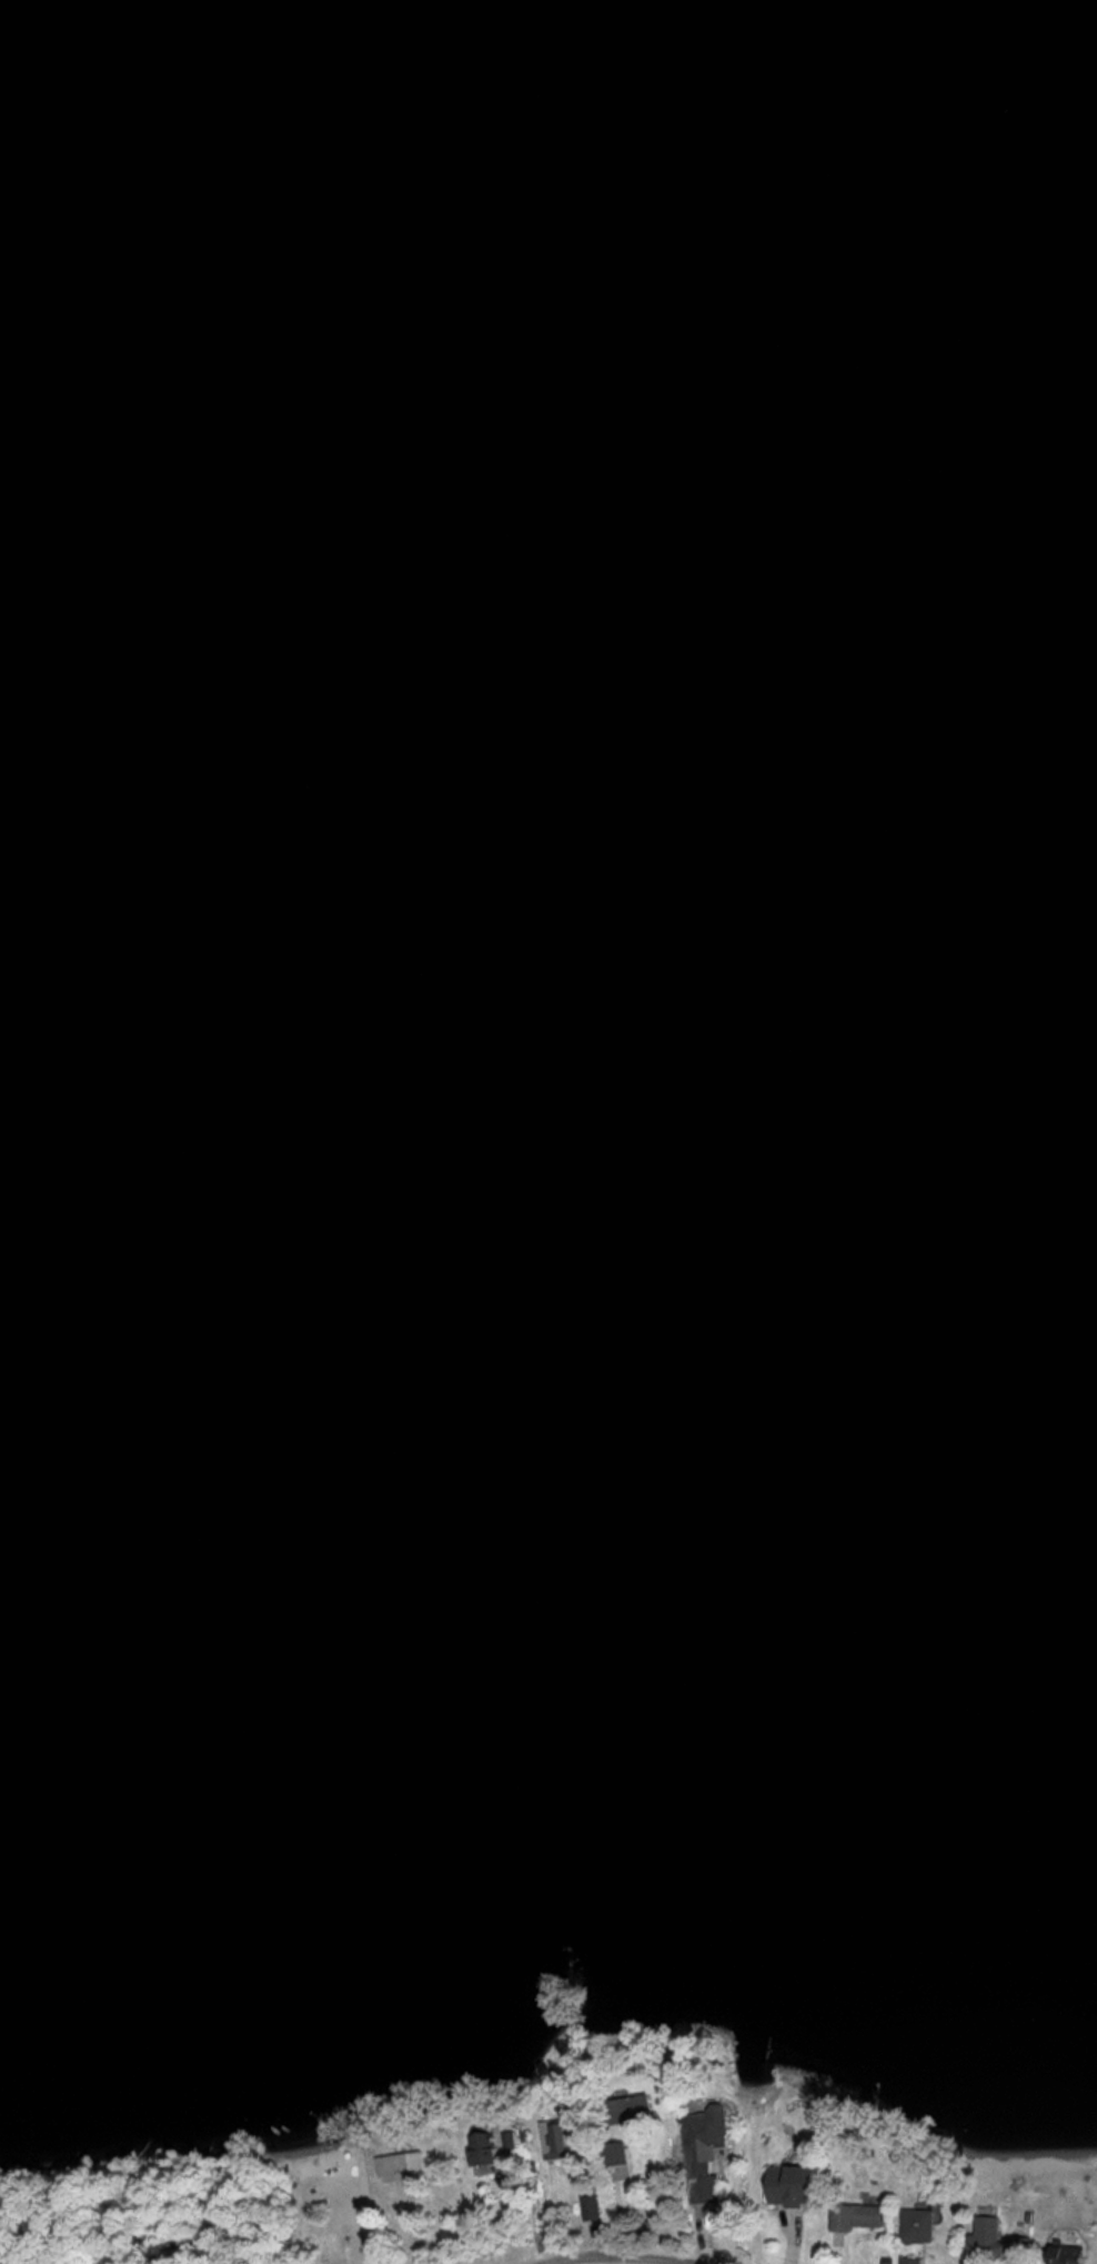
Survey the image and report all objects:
building: (632, 2112)
building: (564, 2141)
building: (490, 2152)
building: (711, 2153)
building: (618, 2156)
building: (402, 2167)
building: (802, 2187)
building: (862, 2220)
building: (923, 2227)
building: (994, 2238)
road: (620, 2250)
building: (1026, 2251)
building: (1075, 2255)
building: (916, 2262)

